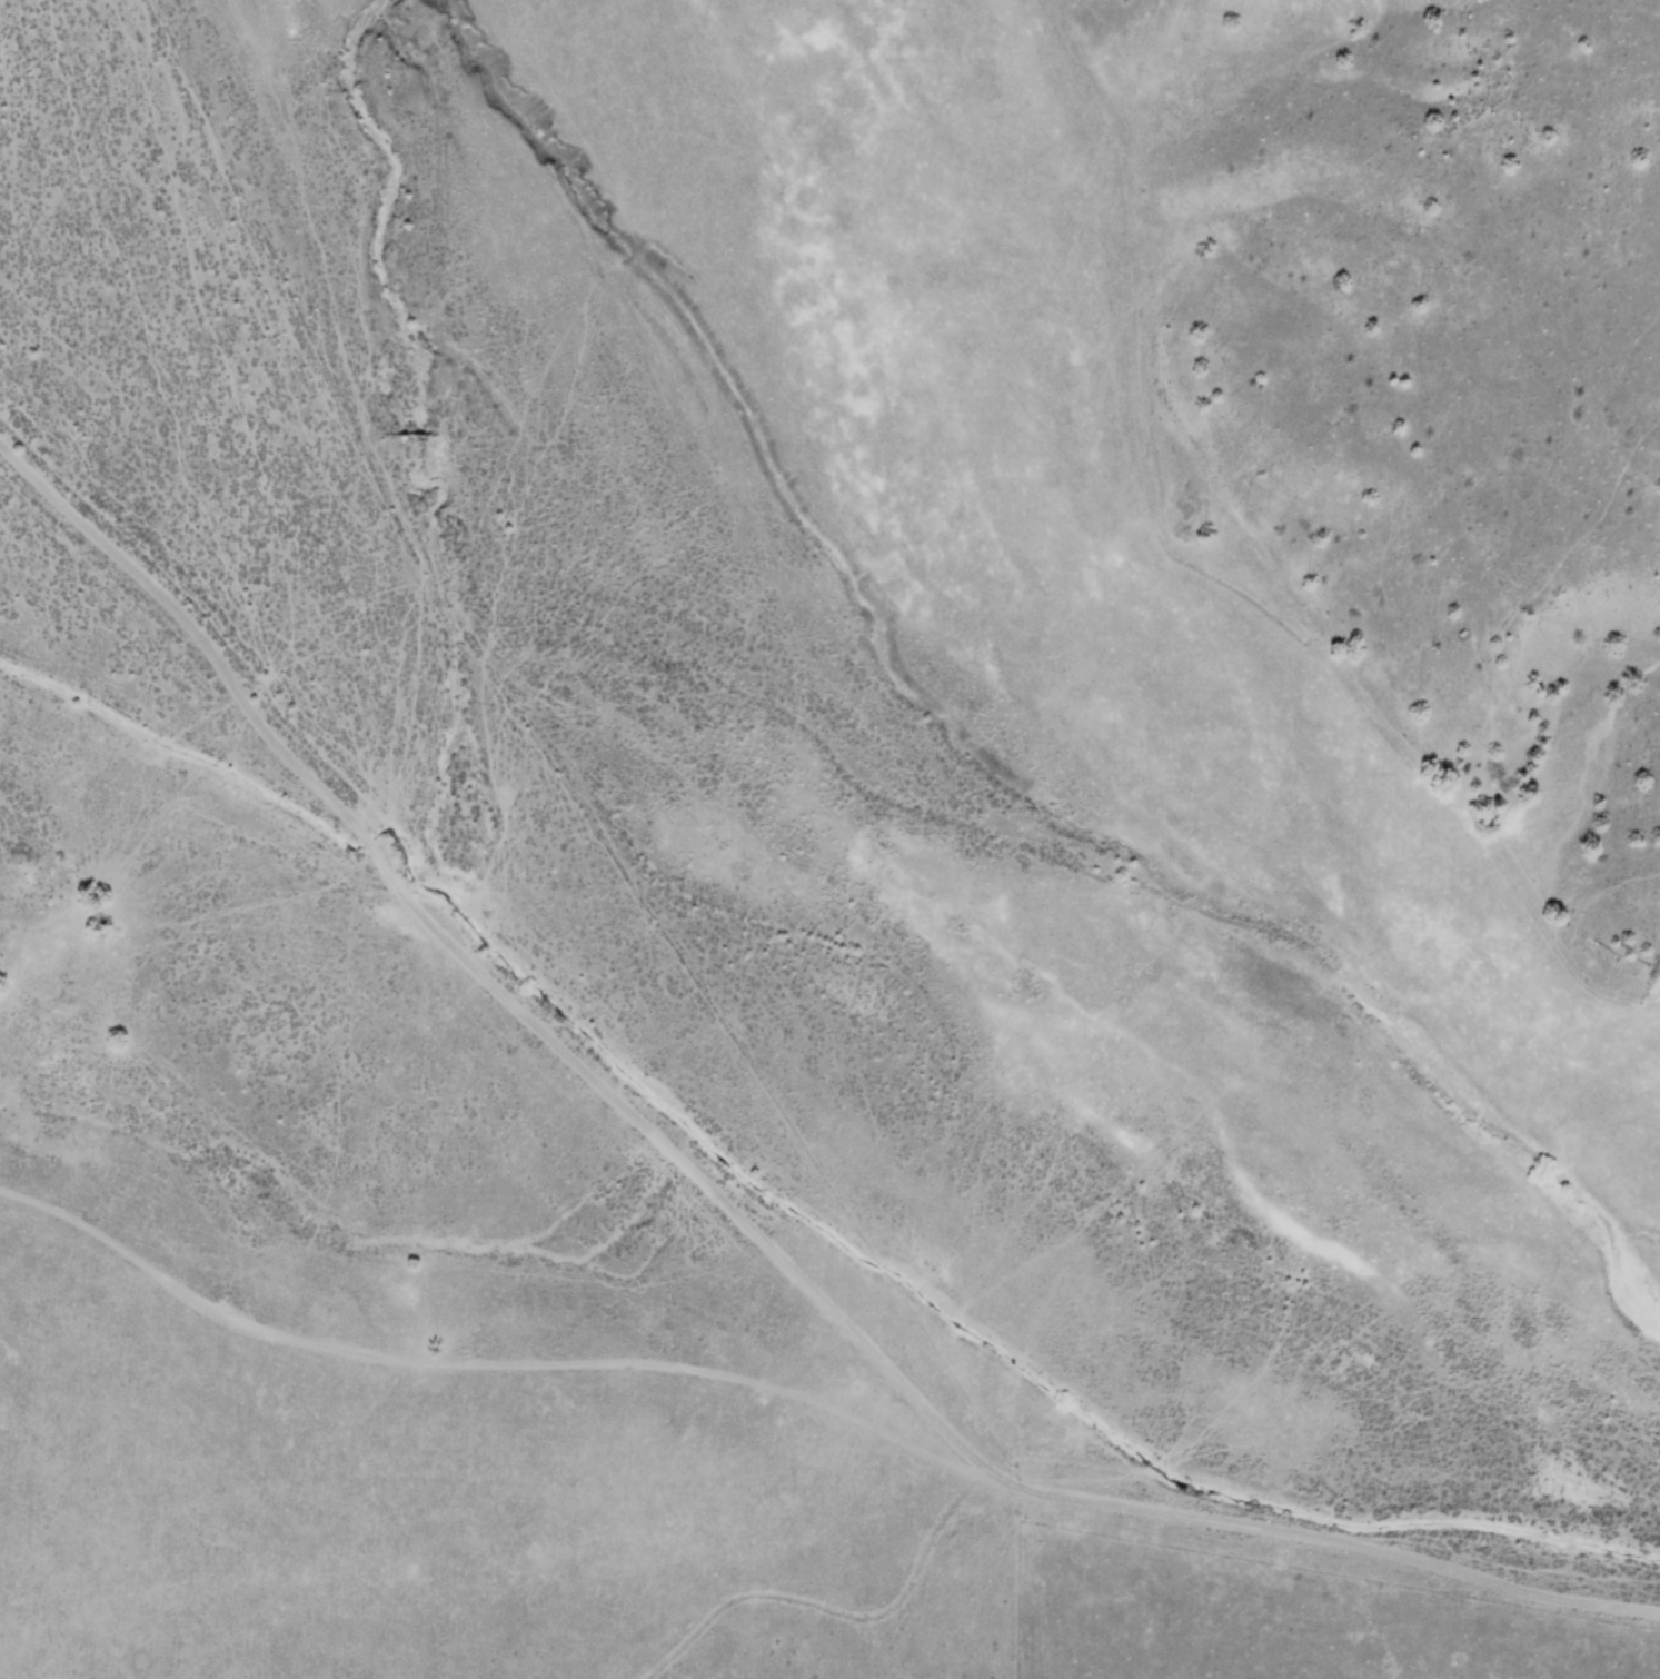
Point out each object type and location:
road: (823, 1384)

